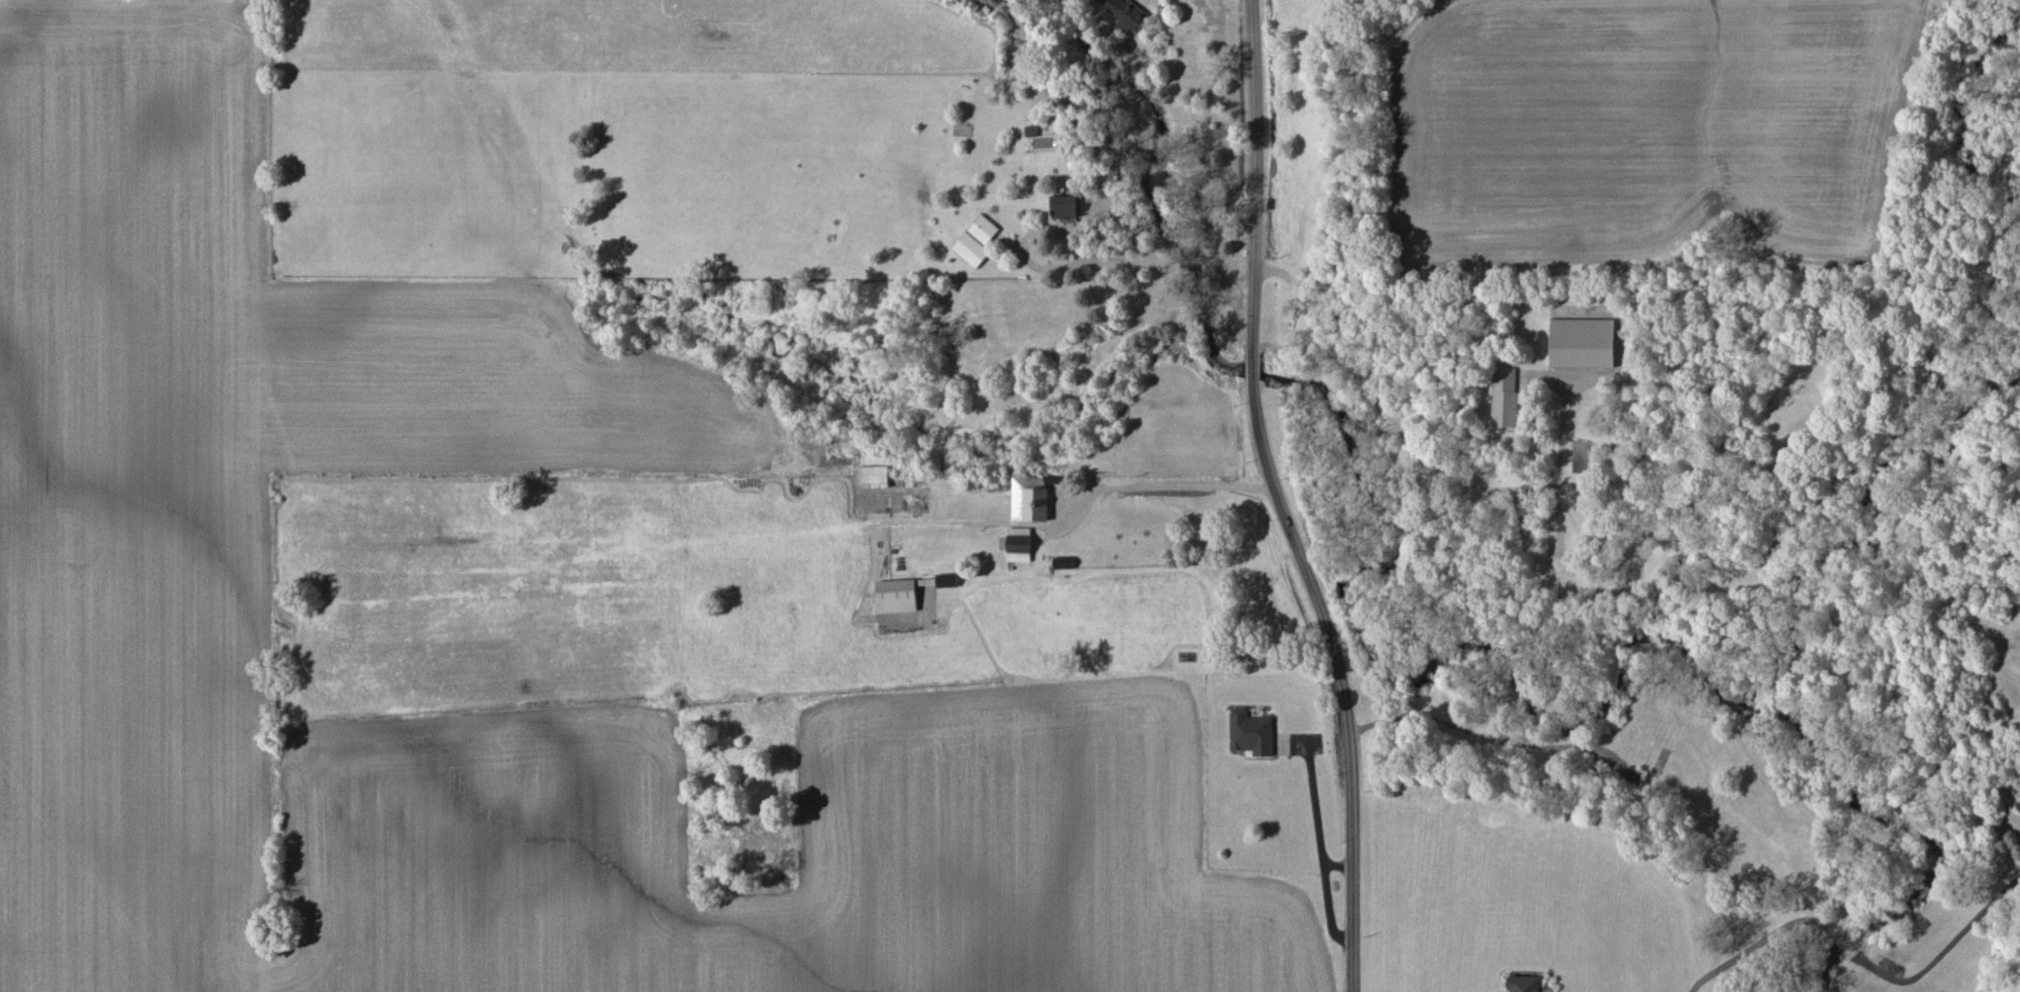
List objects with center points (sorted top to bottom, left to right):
building: (1125, 13)
building: (1064, 207)
building: (982, 229)
building: (970, 249)
road: (1086, 261)
building: (1581, 342)
building: (1504, 397)
road: (423, 462)
building: (873, 477)
road: (1460, 478)
building: (1029, 498)
road: (1278, 499)
building: (1018, 544)
building: (1065, 562)
building: (946, 580)
building: (898, 594)
building: (1250, 732)
building: (1633, 776)
road: (1316, 819)
road: (1328, 907)
building: (1523, 984)

